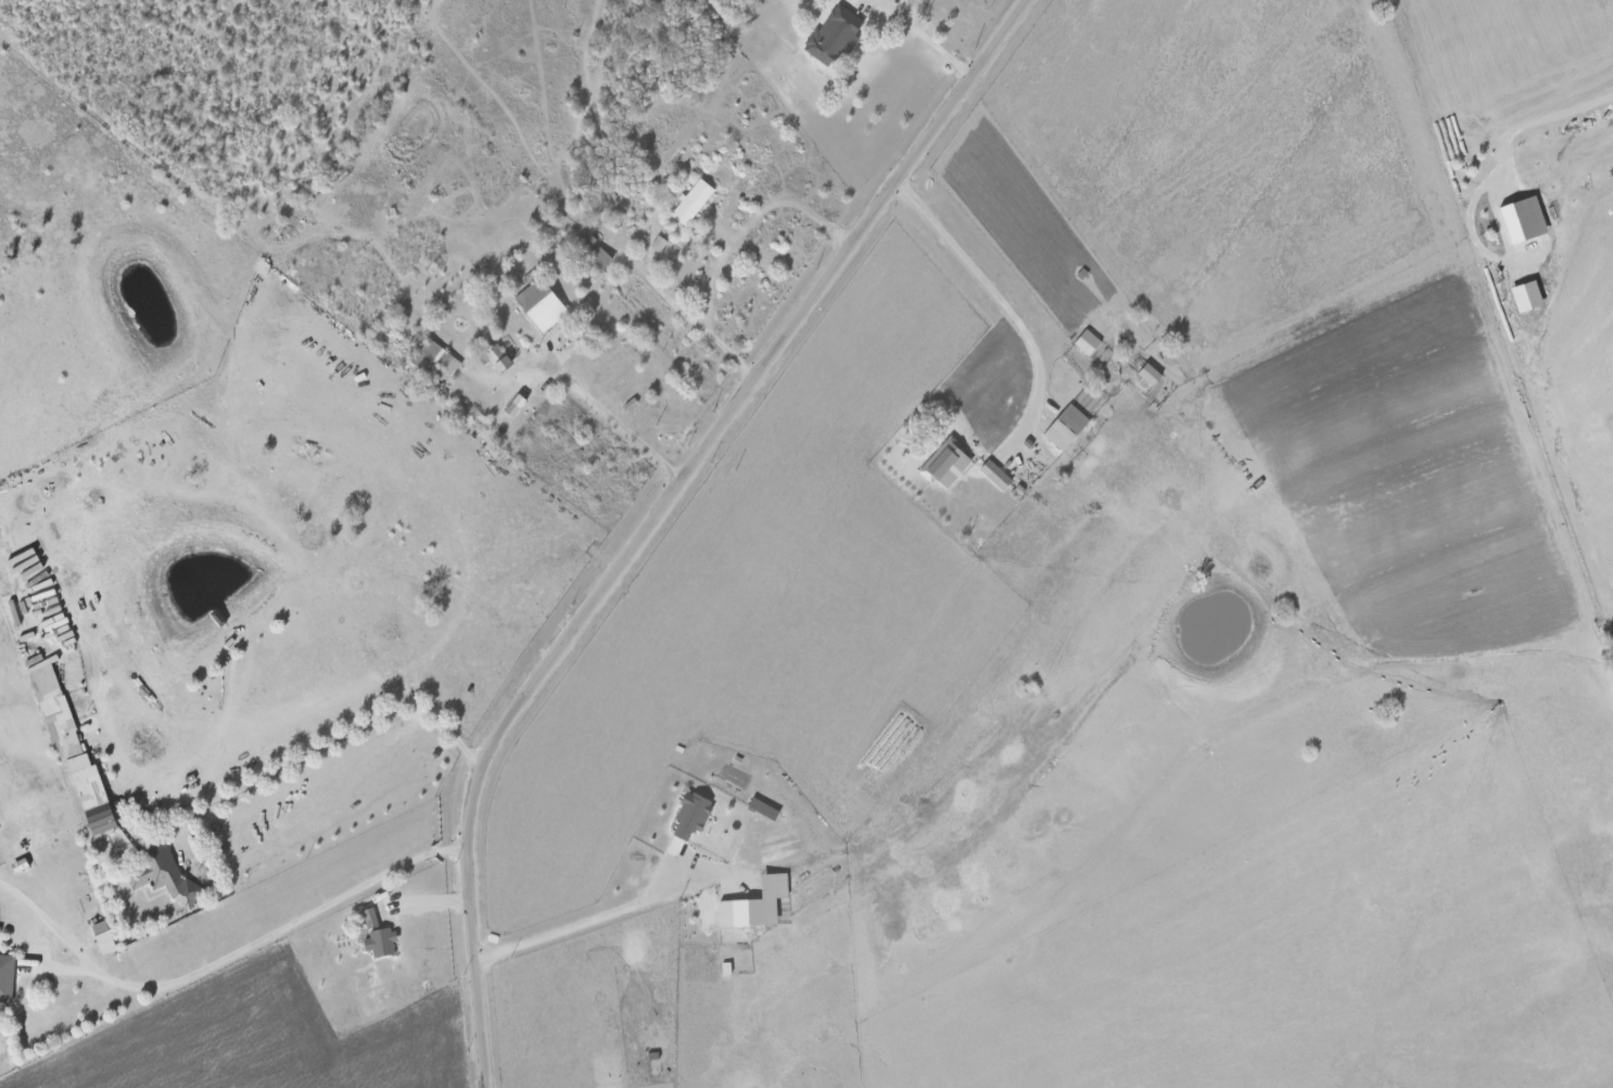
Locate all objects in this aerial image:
building: (834, 36)
road: (923, 50)
building: (693, 201)
building: (1524, 219)
building: (659, 243)
building: (599, 258)
building: (1526, 296)
building: (541, 305)
road: (1004, 305)
road: (695, 322)
building: (1088, 342)
building: (435, 358)
building: (497, 358)
building: (1150, 375)
building: (516, 405)
road: (621, 419)
building: (1066, 427)
building: (945, 464)
building: (995, 475)
road: (659, 514)
road: (336, 738)
building: (73, 749)
building: (691, 814)
building: (164, 875)
building: (748, 912)
building: (370, 918)
road: (51, 924)
road: (282, 929)
road: (586, 933)
building: (381, 941)
building: (105, 942)
building: (7, 977)

